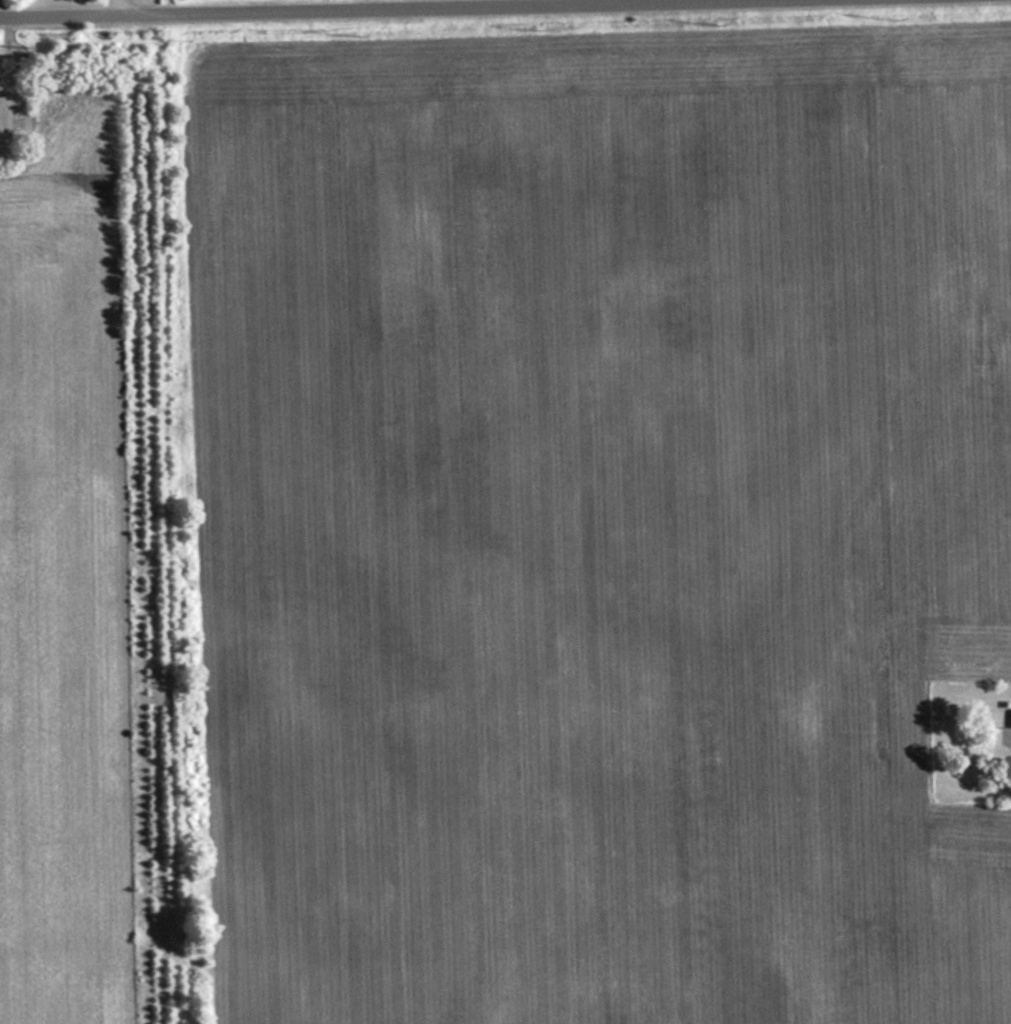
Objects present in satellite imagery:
road: (112, 10)
road: (439, 11)
building: (1010, 715)

